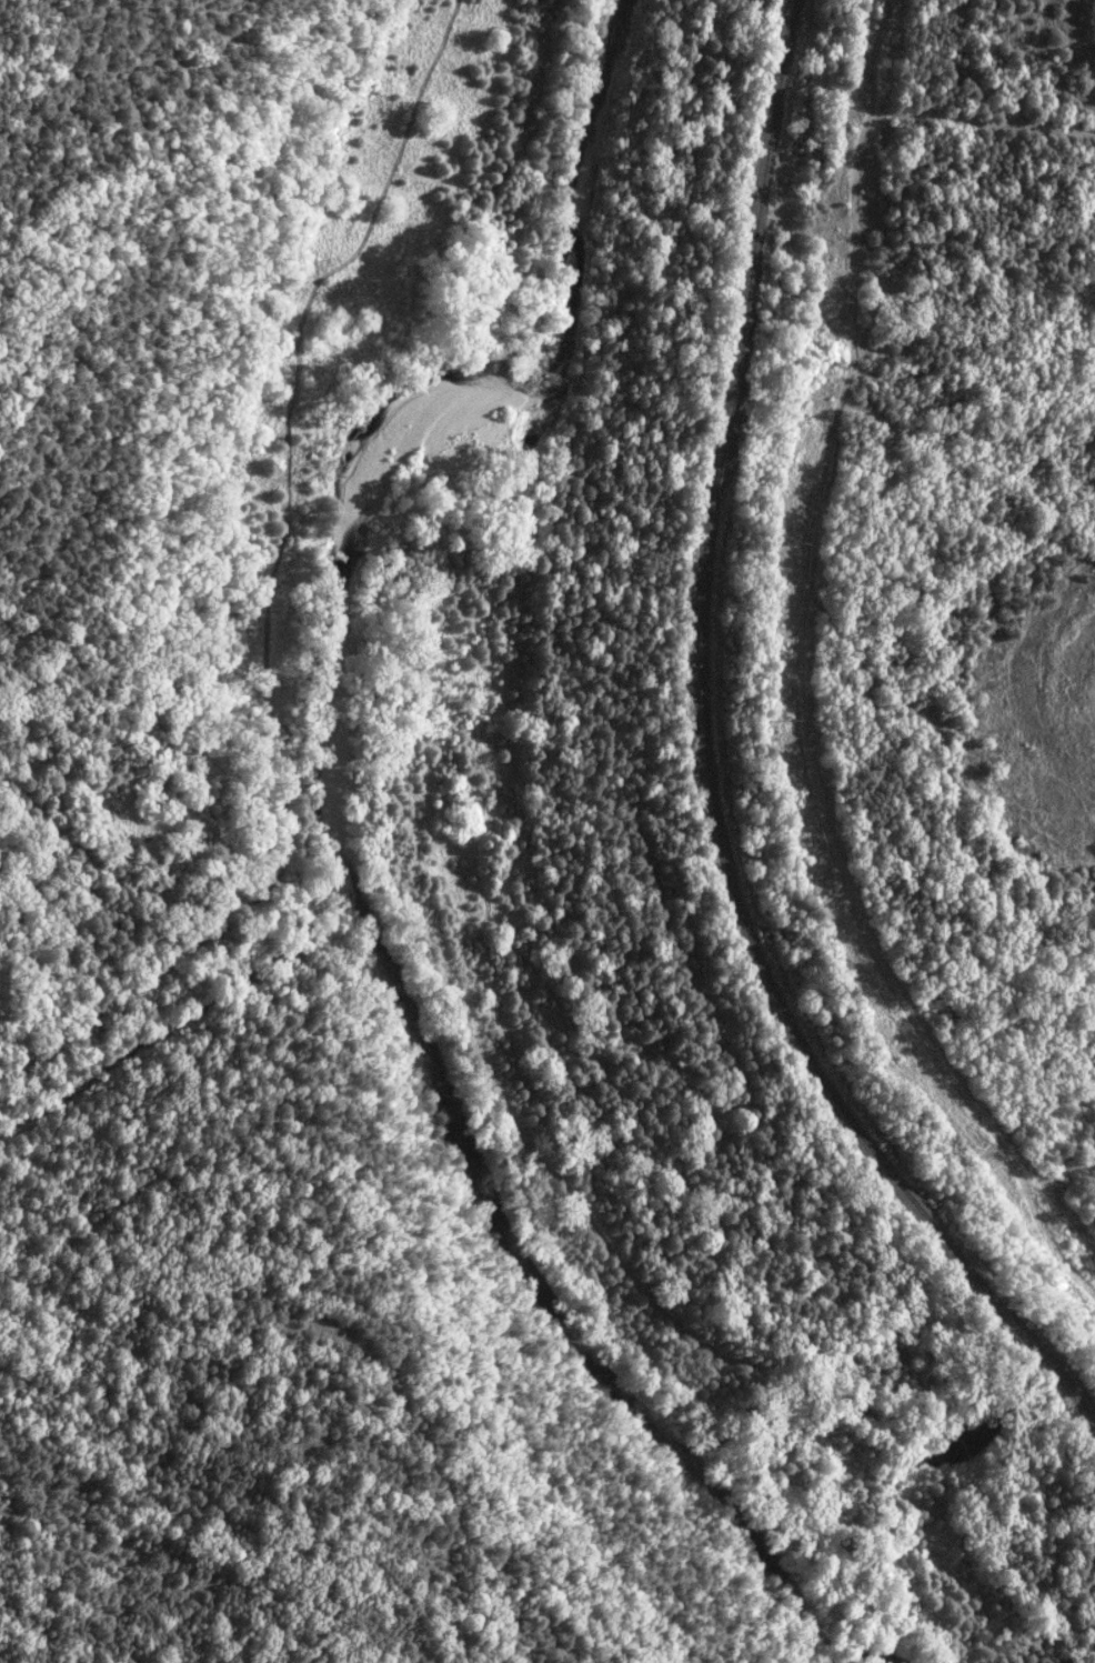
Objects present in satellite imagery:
railway: (710, 768)

